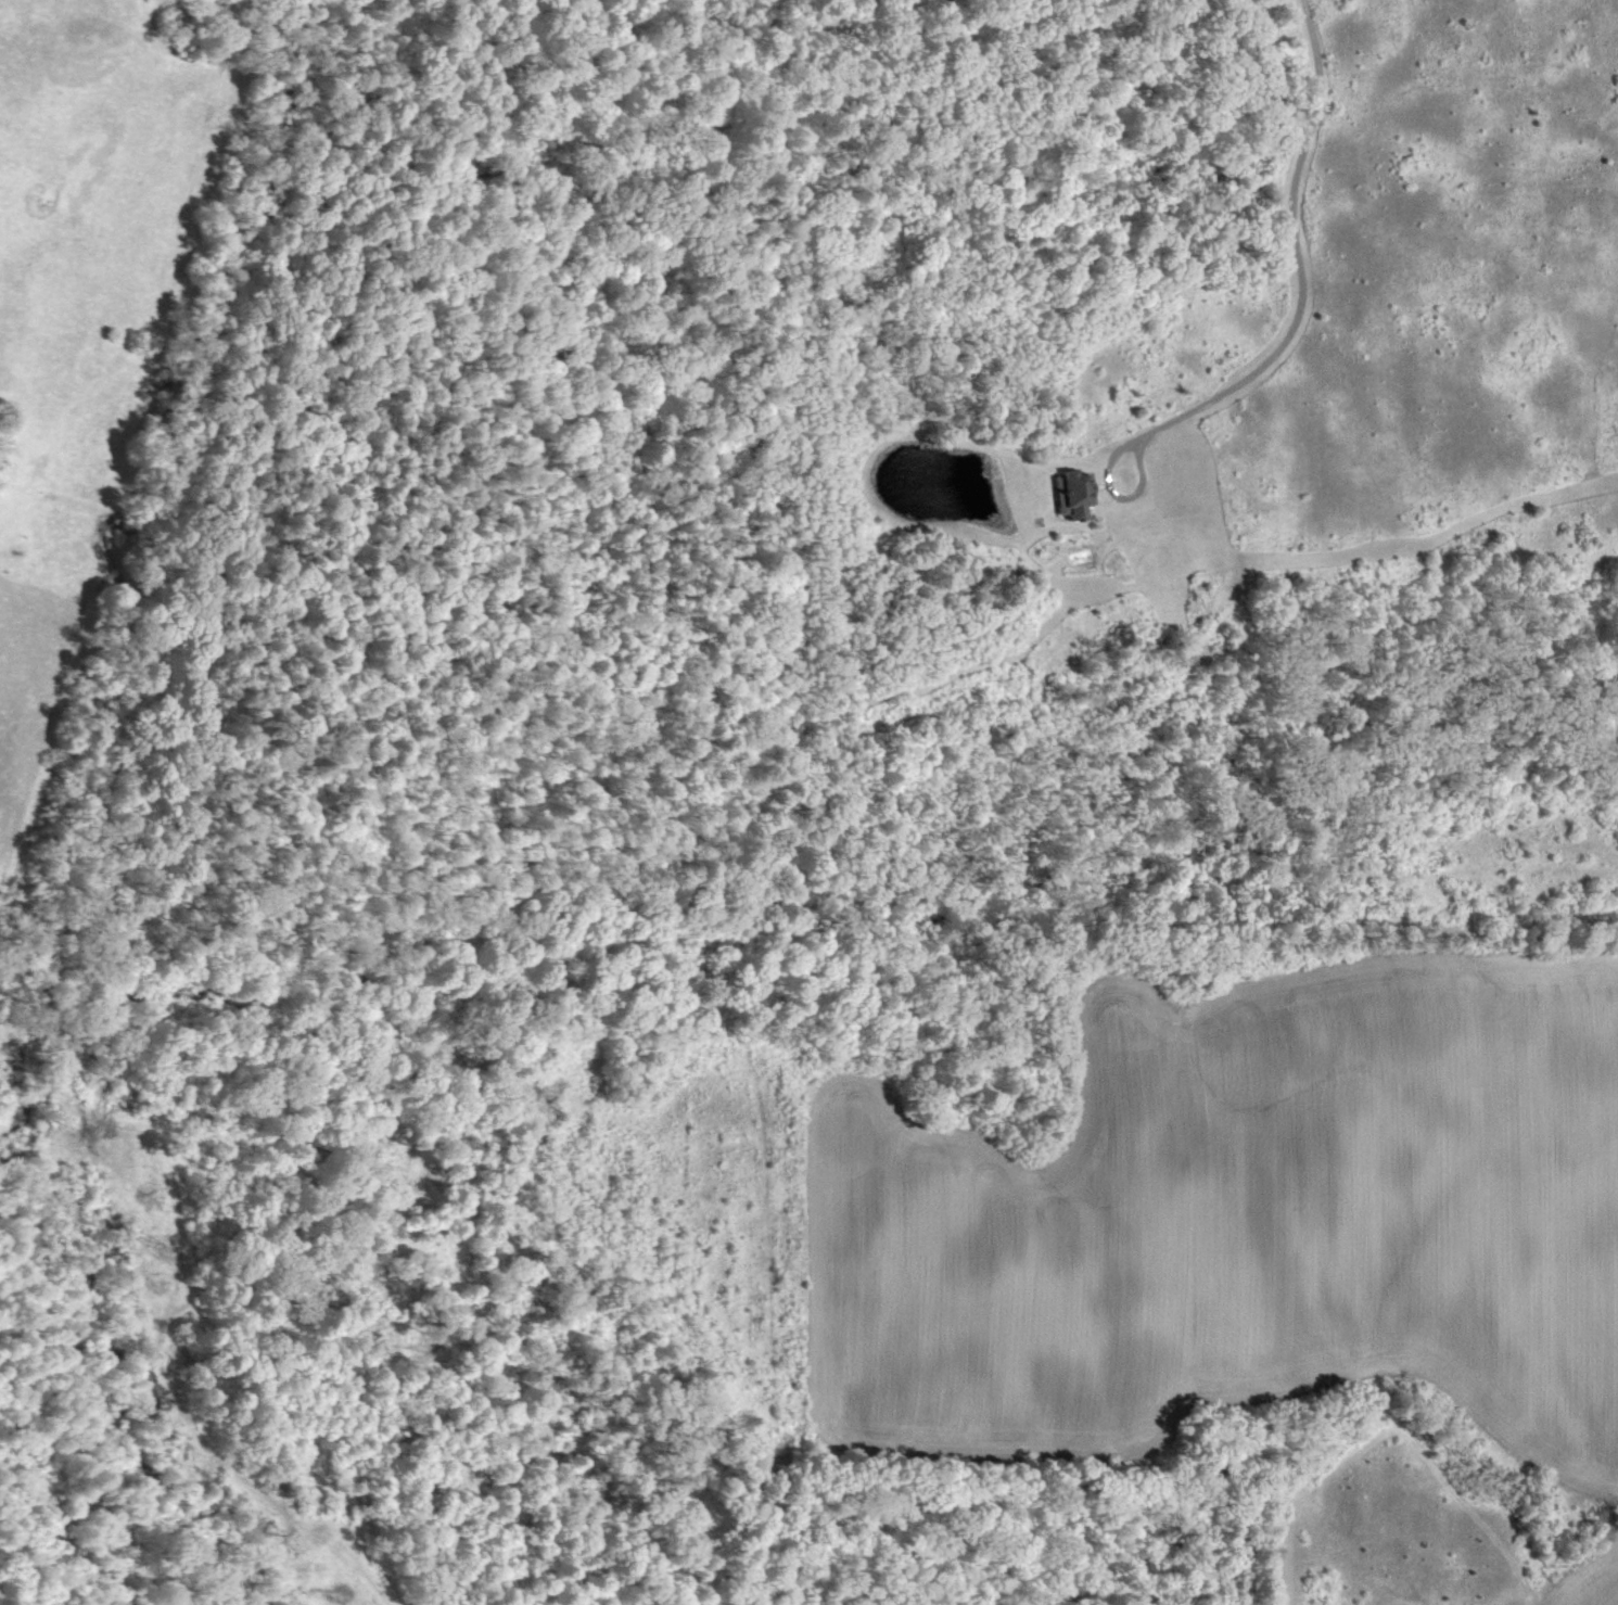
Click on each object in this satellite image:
road: (1300, 260)
road: (1119, 497)

